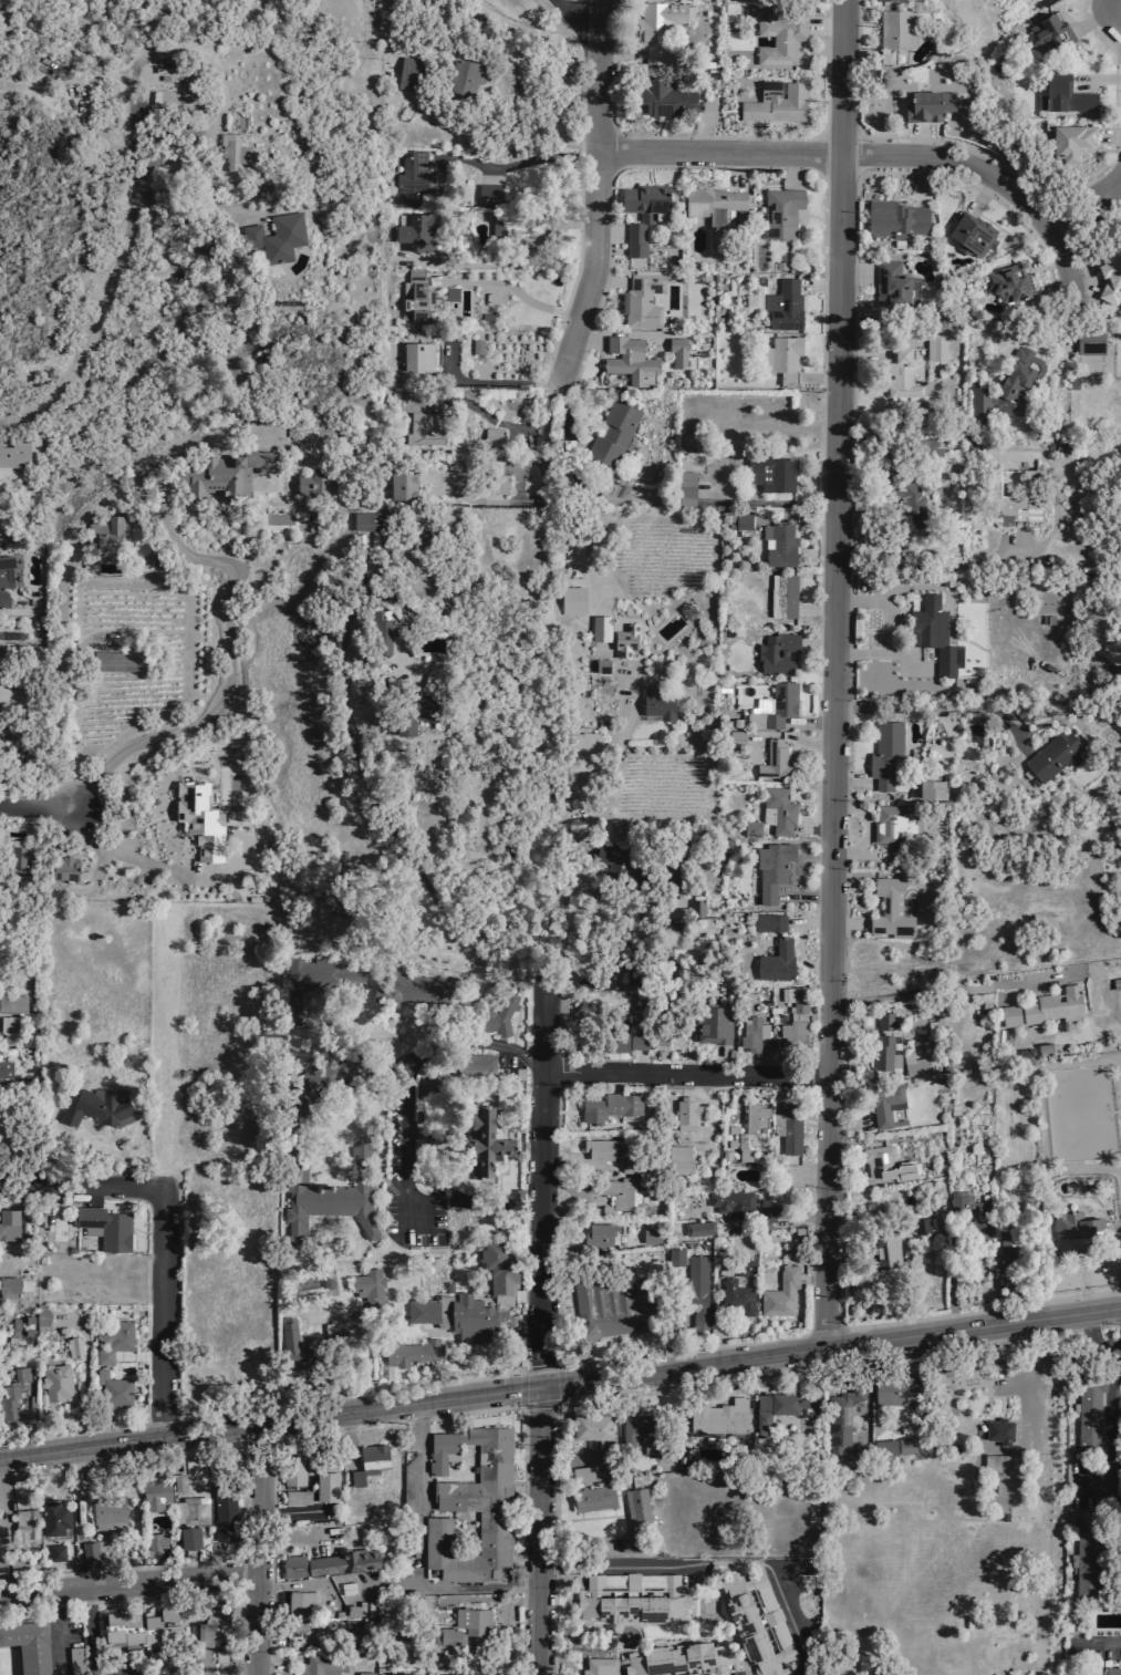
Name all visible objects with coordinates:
building: (894, 0)
road: (1117, 2)
road: (1118, 10)
road: (390, 25)
road: (573, 25)
building: (660, 28)
building: (894, 32)
building: (1048, 34)
building: (779, 37)
building: (407, 71)
building: (464, 75)
building: (1061, 93)
building: (664, 100)
building: (776, 102)
building: (928, 105)
road: (718, 136)
building: (1071, 139)
street lamp: (870, 141)
building: (229, 151)
road: (874, 158)
road: (153, 161)
road: (511, 165)
road: (713, 166)
road: (1009, 166)
road: (864, 172)
building: (413, 177)
road: (1115, 186)
road: (598, 189)
building: (488, 194)
road: (199, 197)
road: (1072, 201)
building: (712, 204)
road: (1113, 205)
building: (780, 211)
building: (643, 214)
building: (895, 218)
road: (1086, 218)
road: (578, 224)
building: (496, 226)
building: (416, 231)
building: (971, 234)
building: (274, 235)
road: (1075, 248)
street lamp: (1072, 251)
road: (499, 262)
building: (1108, 271)
building: (758, 280)
building: (1009, 281)
building: (893, 285)
road: (508, 286)
building: (450, 292)
building: (642, 299)
building: (416, 300)
building: (782, 304)
road: (94, 328)
road: (630, 332)
building: (1088, 342)
building: (476, 345)
building: (935, 347)
building: (677, 352)
building: (419, 355)
building: (783, 356)
building: (629, 360)
building: (900, 374)
road: (486, 382)
building: (1008, 382)
building: (419, 418)
road: (490, 422)
building: (606, 433)
building: (492, 435)
building: (967, 443)
building: (984, 443)
building: (923, 448)
building: (17, 451)
building: (227, 473)
building: (770, 473)
building: (65, 477)
building: (494, 477)
road: (518, 480)
building: (314, 483)
building: (402, 484)
building: (684, 488)
building: (903, 493)
building: (1006, 495)
road: (537, 497)
road: (768, 503)
building: (370, 520)
building: (741, 520)
road: (818, 520)
building: (111, 536)
building: (779, 545)
road: (931, 566)
building: (587, 573)
building: (4, 578)
building: (946, 578)
road: (235, 588)
building: (782, 596)
building: (577, 601)
building: (600, 628)
road: (889, 628)
building: (380, 632)
building: (932, 632)
building: (393, 637)
building: (625, 640)
building: (776, 652)
building: (124, 663)
building: (601, 665)
building: (976, 670)
road: (835, 675)
building: (656, 701)
building: (780, 703)
road: (940, 707)
building: (416, 712)
building: (428, 722)
building: (736, 737)
road: (946, 740)
road: (847, 748)
building: (884, 753)
building: (1053, 754)
building: (771, 759)
road: (816, 777)
road: (362, 778)
building: (930, 787)
building: (964, 789)
road: (32, 804)
building: (779, 809)
building: (203, 821)
building: (617, 826)
building: (751, 828)
building: (895, 829)
road: (568, 845)
building: (12, 854)
road: (117, 856)
building: (621, 865)
building: (64, 868)
building: (774, 869)
building: (962, 902)
road: (844, 903)
building: (889, 908)
building: (697, 909)
building: (768, 922)
building: (776, 961)
building: (315, 980)
building: (592, 983)
building: (1117, 983)
building: (408, 989)
road: (944, 990)
building: (799, 999)
building: (12, 1003)
building: (1042, 1006)
building: (499, 1015)
building: (883, 1016)
building: (623, 1023)
building: (712, 1023)
building: (791, 1032)
building: (752, 1033)
building: (658, 1034)
road: (842, 1036)
building: (637, 1041)
building: (882, 1053)
building: (476, 1065)
building: (914, 1065)
building: (4, 1069)
road: (407, 1072)
road: (688, 1077)
building: (324, 1084)
building: (426, 1100)
building: (885, 1103)
building: (609, 1107)
building: (103, 1109)
building: (953, 1109)
building: (686, 1113)
park: (1079, 1113)
building: (754, 1116)
building: (789, 1126)
road: (98, 1135)
building: (482, 1138)
building: (600, 1148)
building: (741, 1148)
building: (678, 1161)
building: (884, 1164)
road: (543, 1165)
building: (630, 1165)
parking lot: (405, 1166)
building: (787, 1175)
road: (82, 1188)
building: (616, 1192)
building: (330, 1195)
building: (731, 1203)
road: (491, 1206)
building: (969, 1212)
building: (765, 1213)
building: (918, 1219)
building: (1075, 1226)
building: (11, 1227)
building: (698, 1228)
building: (108, 1230)
building: (798, 1231)
building: (600, 1234)
building: (651, 1235)
building: (882, 1245)
road: (1094, 1247)
building: (1008, 1250)
building: (744, 1265)
building: (762, 1275)
building: (12, 1286)
building: (369, 1286)
building: (689, 1288)
building: (779, 1293)
building: (736, 1295)
building: (471, 1299)
building: (612, 1305)
road: (966, 1312)
road: (165, 1314)
building: (41, 1317)
building: (510, 1320)
road: (1120, 1322)
building: (0, 1333)
road: (1092, 1340)
building: (114, 1341)
building: (309, 1345)
building: (75, 1346)
road: (830, 1350)
building: (412, 1352)
road: (139, 1355)
road: (842, 1361)
road: (538, 1368)
road: (84, 1373)
road: (477, 1377)
building: (55, 1383)
road: (558, 1383)
road: (1023, 1383)
road: (521, 1389)
building: (897, 1389)
building: (115, 1392)
building: (14, 1395)
road: (539, 1405)
building: (781, 1405)
building: (1089, 1415)
building: (717, 1416)
building: (841, 1416)
road: (1109, 1418)
road: (394, 1421)
road: (270, 1426)
building: (591, 1426)
building: (642, 1426)
building: (998, 1430)
road: (353, 1441)
building: (893, 1446)
building: (369, 1464)
building: (292, 1468)
road: (261, 1471)
building: (997, 1471)
building: (581, 1474)
building: (322, 1476)
building: (408, 1482)
parking lot: (1087, 1485)
building: (155, 1493)
building: (295, 1497)
building: (593, 1497)
building: (470, 1503)
road: (271, 1507)
building: (107, 1509)
building: (222, 1509)
building: (636, 1509)
building: (193, 1511)
road: (292, 1511)
building: (54, 1514)
building: (25, 1526)
road: (256, 1530)
road: (266, 1530)
road: (538, 1531)
road: (521, 1533)
road: (552, 1533)
building: (188, 1538)
road: (294, 1540)
building: (156, 1541)
building: (635, 1543)
building: (89, 1550)
building: (54, 1552)
road: (422, 1553)
building: (1087, 1553)
building: (331, 1561)
building: (28, 1562)
road: (748, 1562)
building: (2, 1565)
road: (619, 1565)
building: (19, 1567)
road: (100, 1570)
road: (128, 1583)
road: (392, 1586)
building: (346, 1588)
building: (631, 1596)
road: (478, 1598)
building: (299, 1603)
road: (257, 1609)
building: (351, 1610)
park: (706, 1610)
building: (356, 1611)
building: (392, 1612)
building: (471, 1620)
road: (793, 1621)
road: (684, 1622)
building: (757, 1622)
building: (301, 1625)
building: (359, 1625)
building: (142, 1627)
road: (56, 1632)
road: (734, 1632)
road: (91, 1633)
building: (449, 1636)
building: (211, 1642)
road: (637, 1642)
road: (1096, 1642)
building: (28, 1644)
parking lot: (1092, 1653)
road: (737, 1654)
building: (682, 1660)
building: (75, 1661)
road: (616, 1662)
building: (321, 1665)
building: (128, 1666)
building: (599, 1666)
building: (1111, 1671)
building: (1079, 1672)
building: (364, 1673)
building: (401, 1673)

